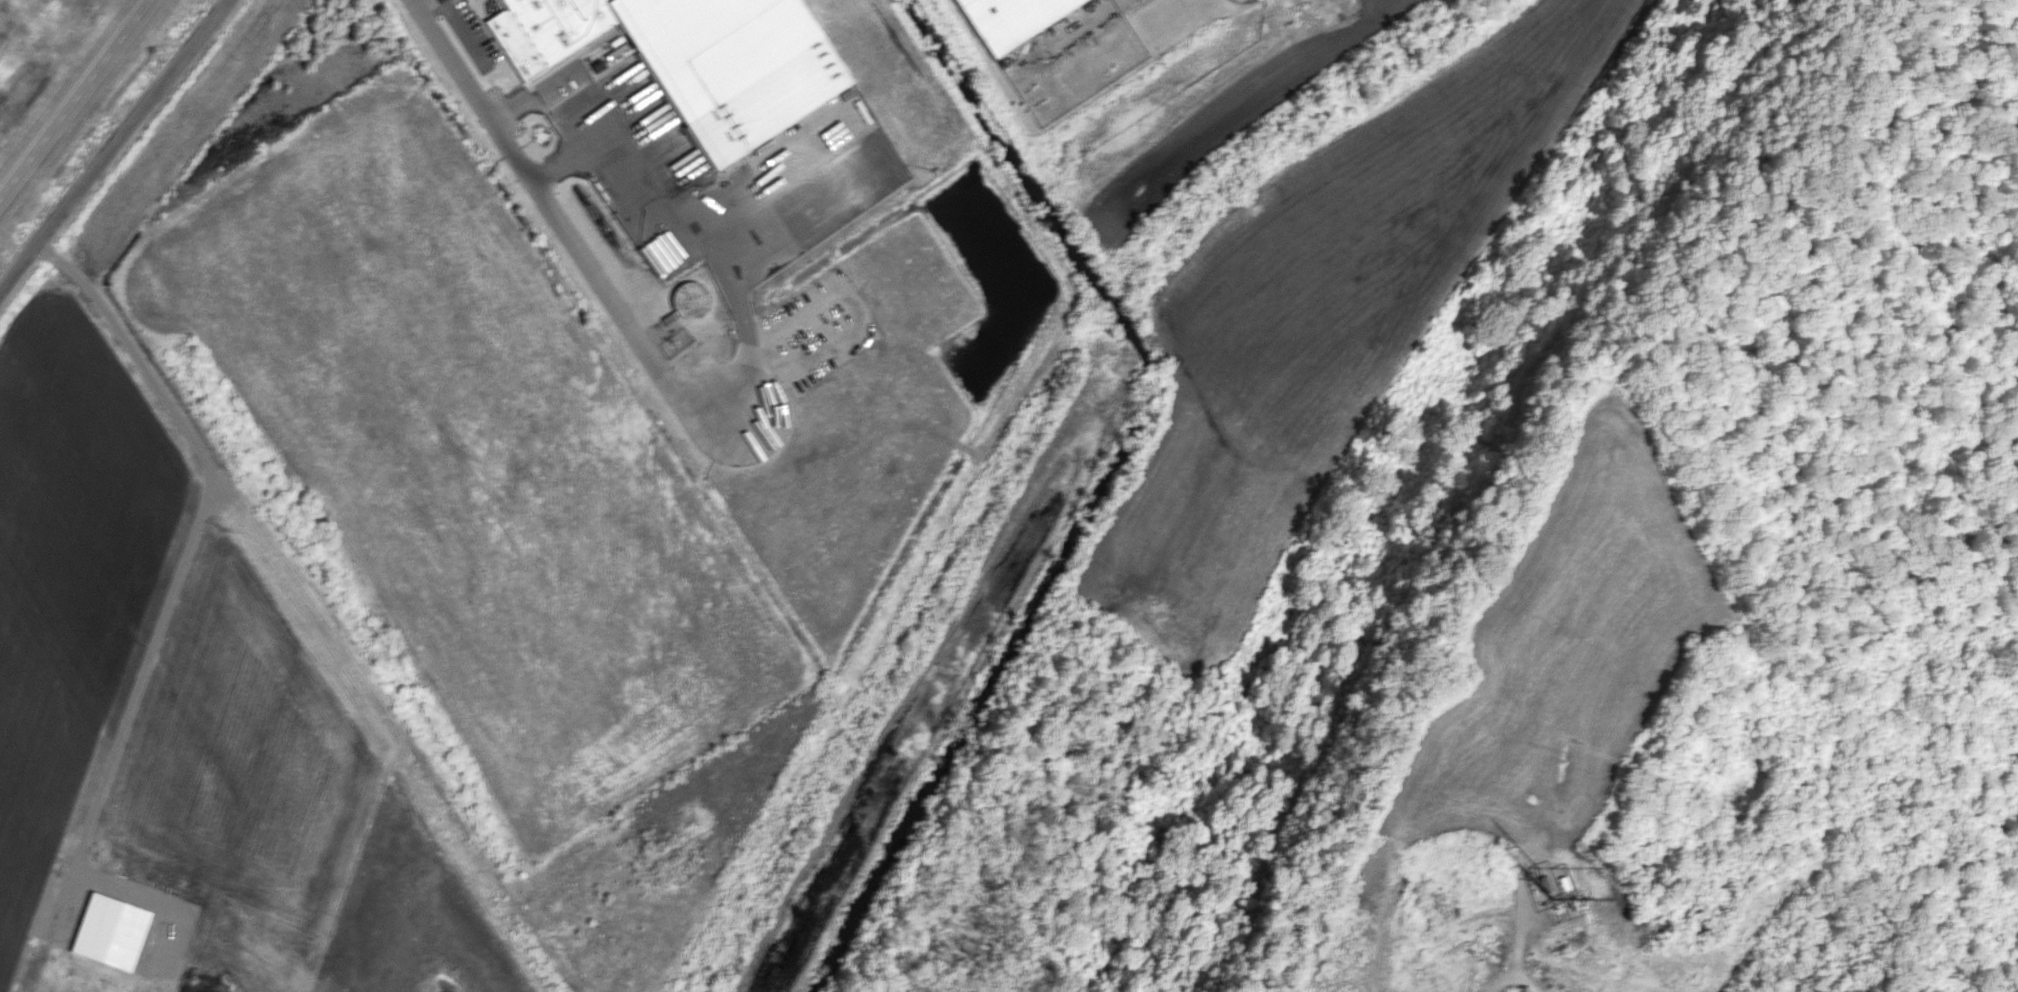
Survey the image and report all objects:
road: (422, 4)
building: (1011, 18)
building: (675, 39)
road: (73, 102)
road: (116, 144)
road: (568, 156)
road: (653, 201)
road: (559, 223)
building: (690, 300)
road: (757, 344)
road: (200, 548)
building: (110, 931)

